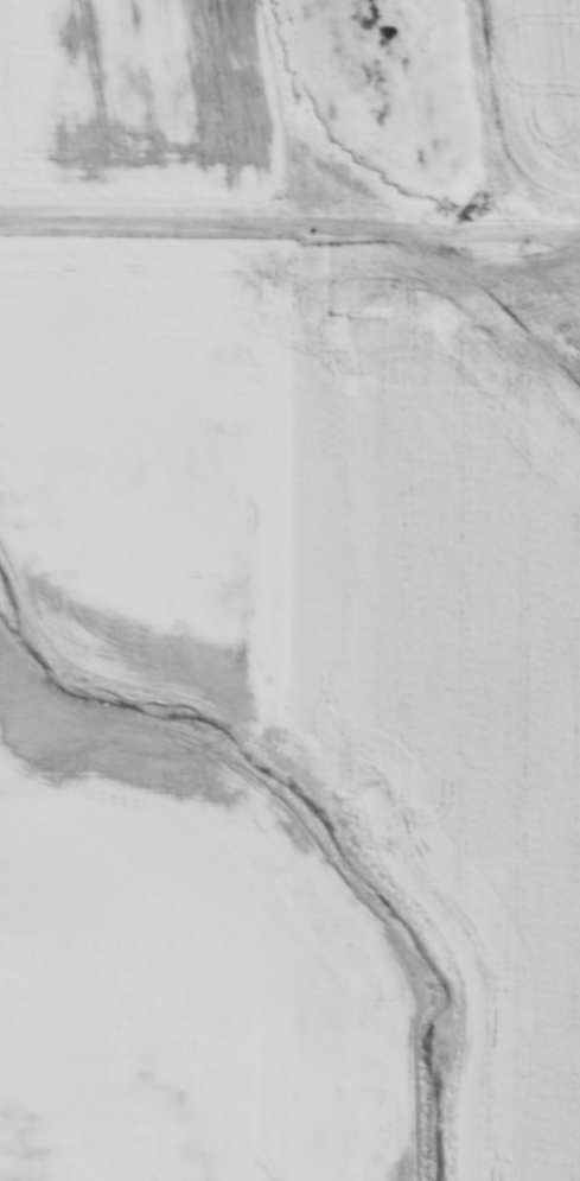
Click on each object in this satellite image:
road: (289, 231)
power tower: (353, 312)
power tower: (351, 799)

